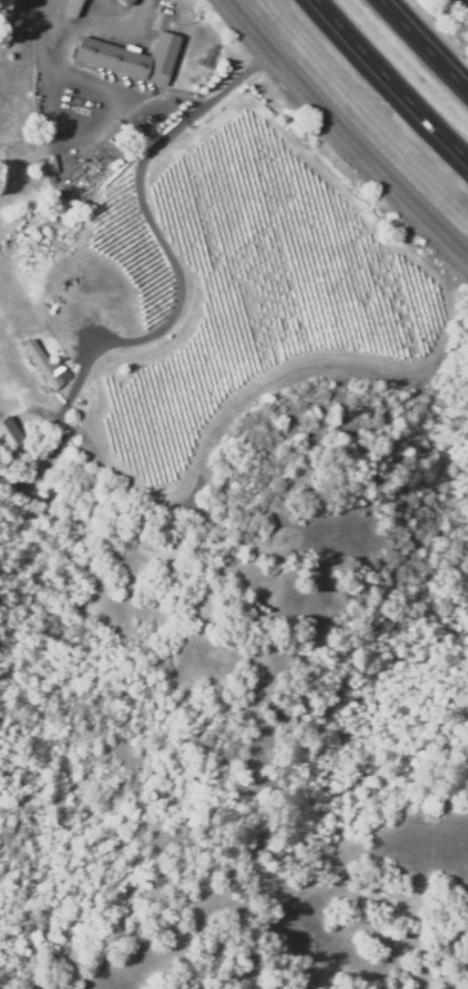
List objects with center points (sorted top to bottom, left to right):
building: (124, 2)
building: (73, 8)
road: (423, 47)
building: (130, 59)
road: (390, 82)
road: (341, 135)
building: (64, 291)
building: (42, 366)
building: (9, 434)

